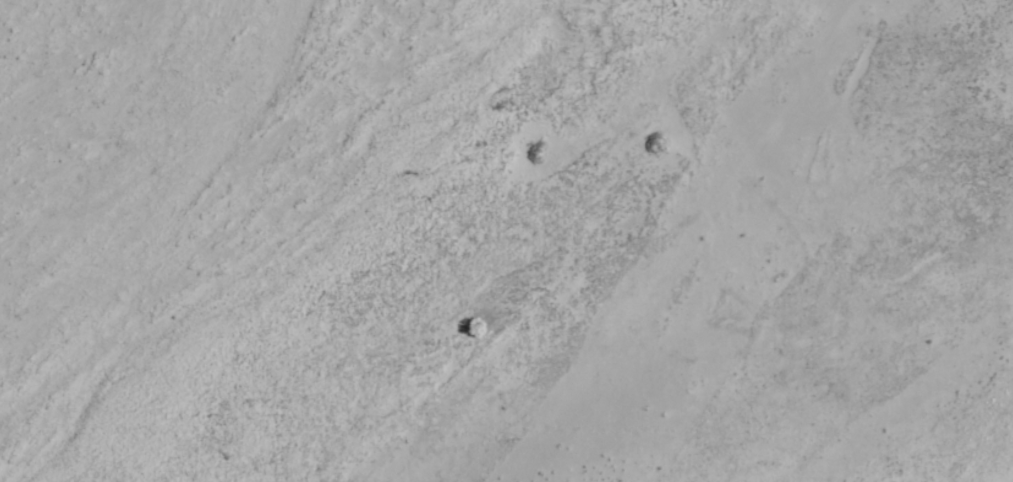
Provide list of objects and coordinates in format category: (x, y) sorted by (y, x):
river: (42, 47)

